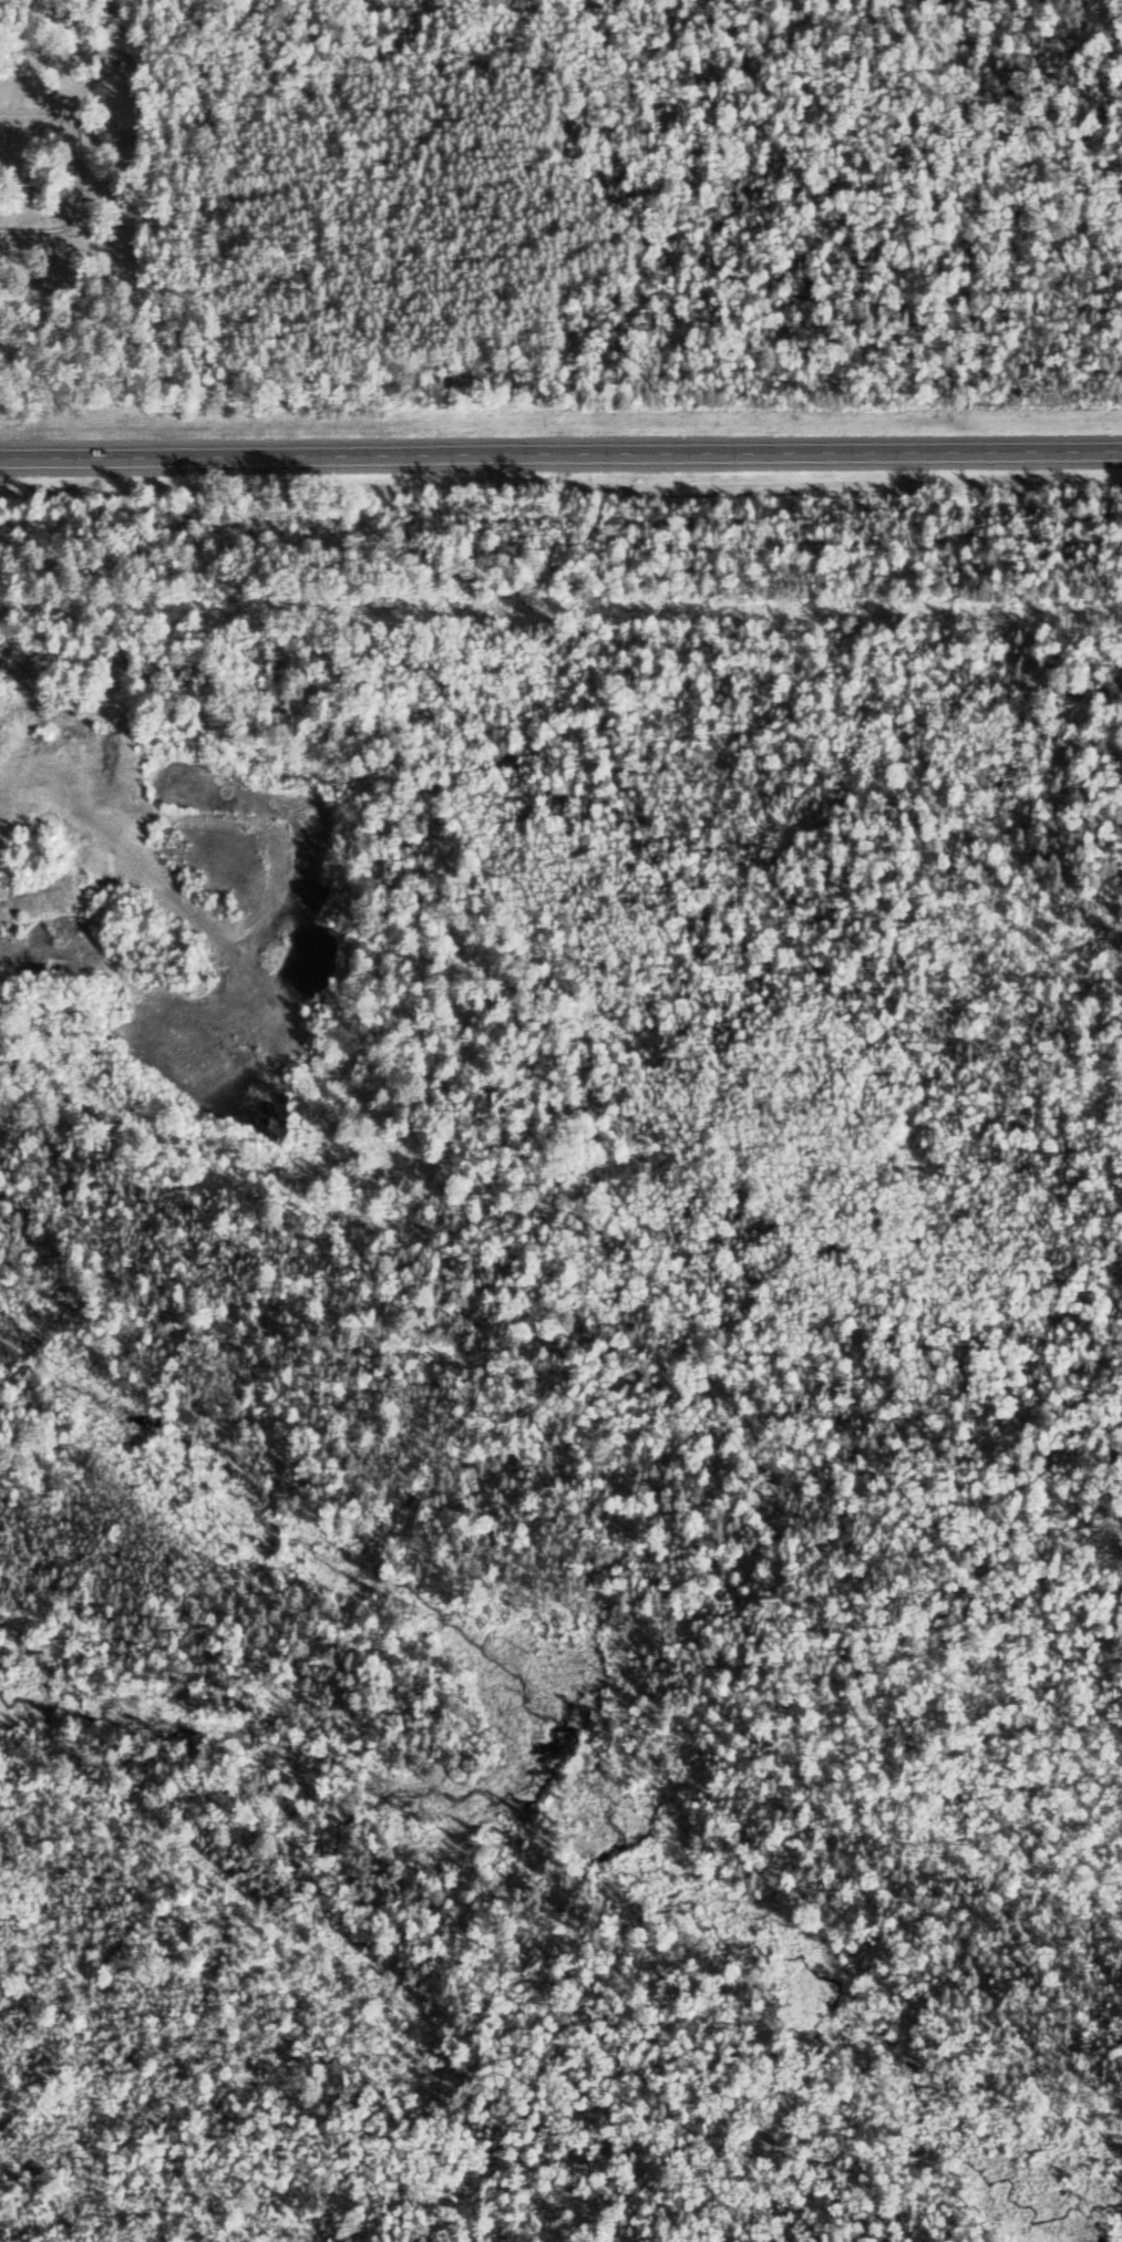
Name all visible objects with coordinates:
park: (73, 157)
road: (75, 166)
road: (560, 453)

